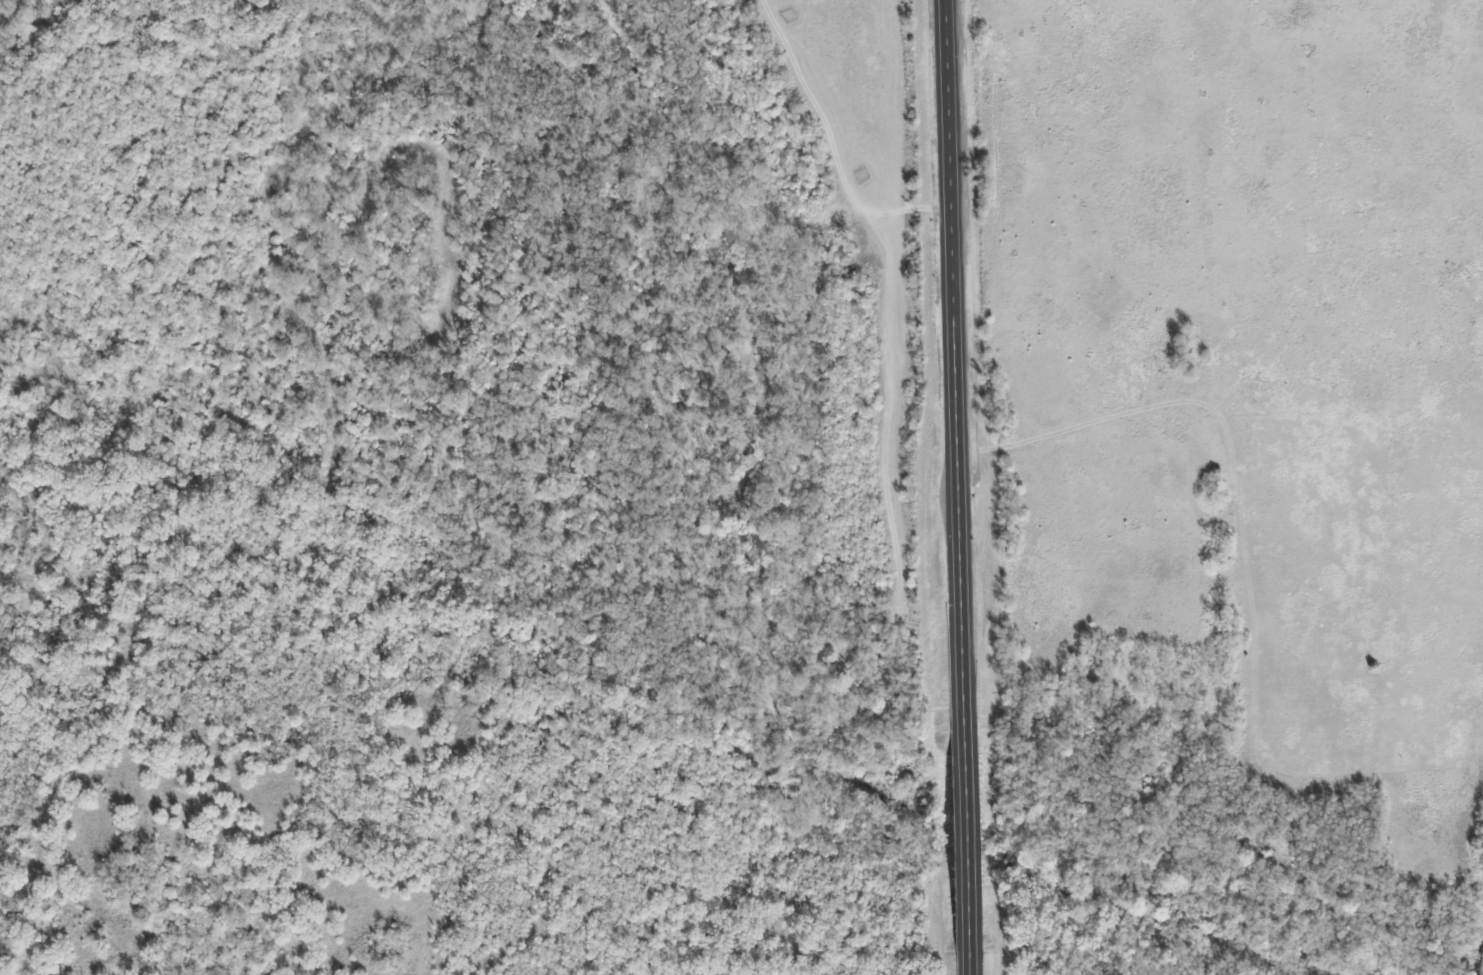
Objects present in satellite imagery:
road: (957, 487)

